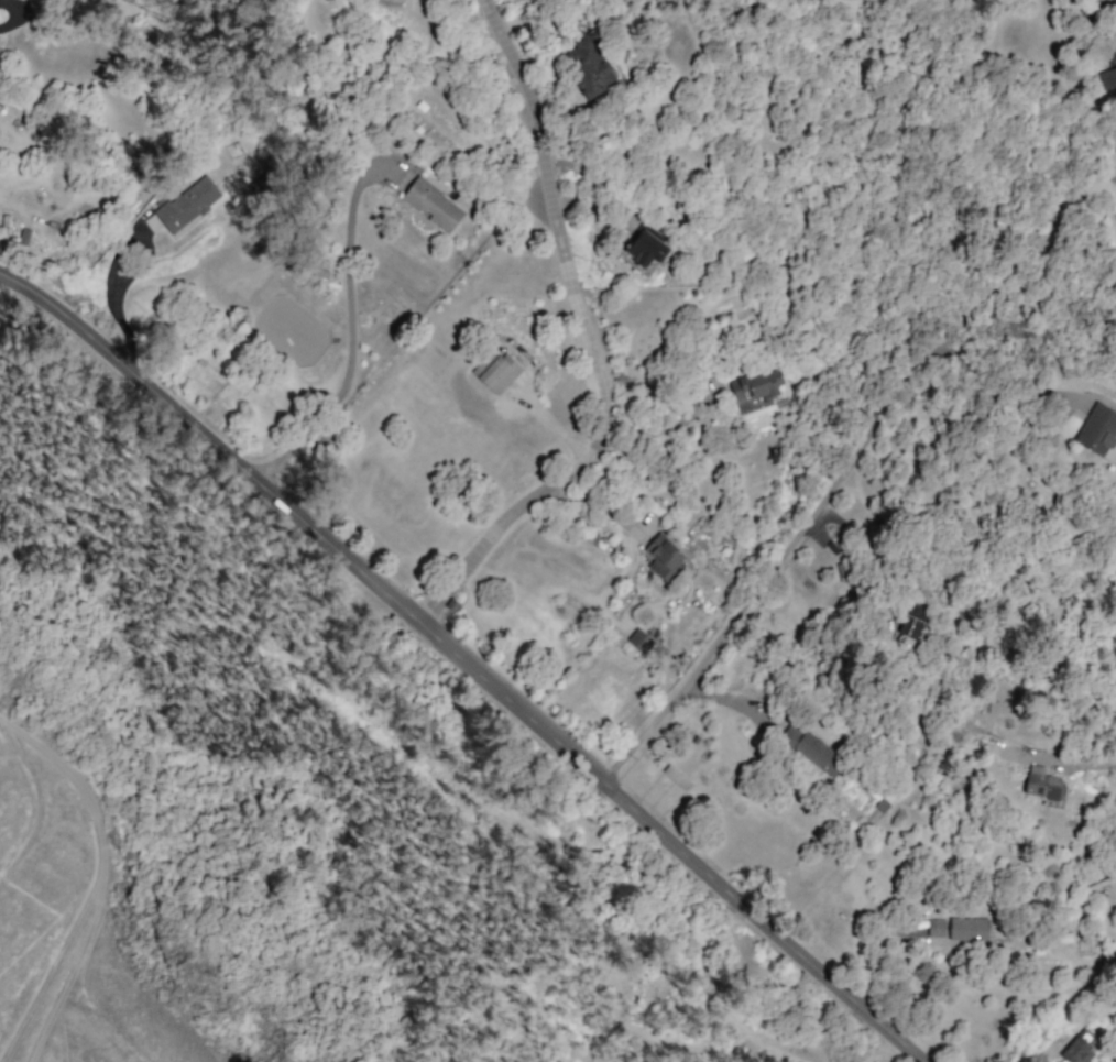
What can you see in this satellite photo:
road: (1093, 9)
road: (10, 17)
building: (590, 67)
building: (1108, 77)
building: (434, 205)
building: (188, 206)
building: (644, 247)
road: (347, 328)
road: (593, 339)
building: (496, 371)
building: (754, 391)
building: (1097, 430)
building: (664, 557)
building: (913, 621)
road: (712, 638)
building: (639, 641)
road: (462, 657)
building: (814, 752)
building: (677, 778)
building: (1042, 784)
landfill: (72, 923)
building: (936, 928)
building: (967, 929)
building: (1076, 1051)

